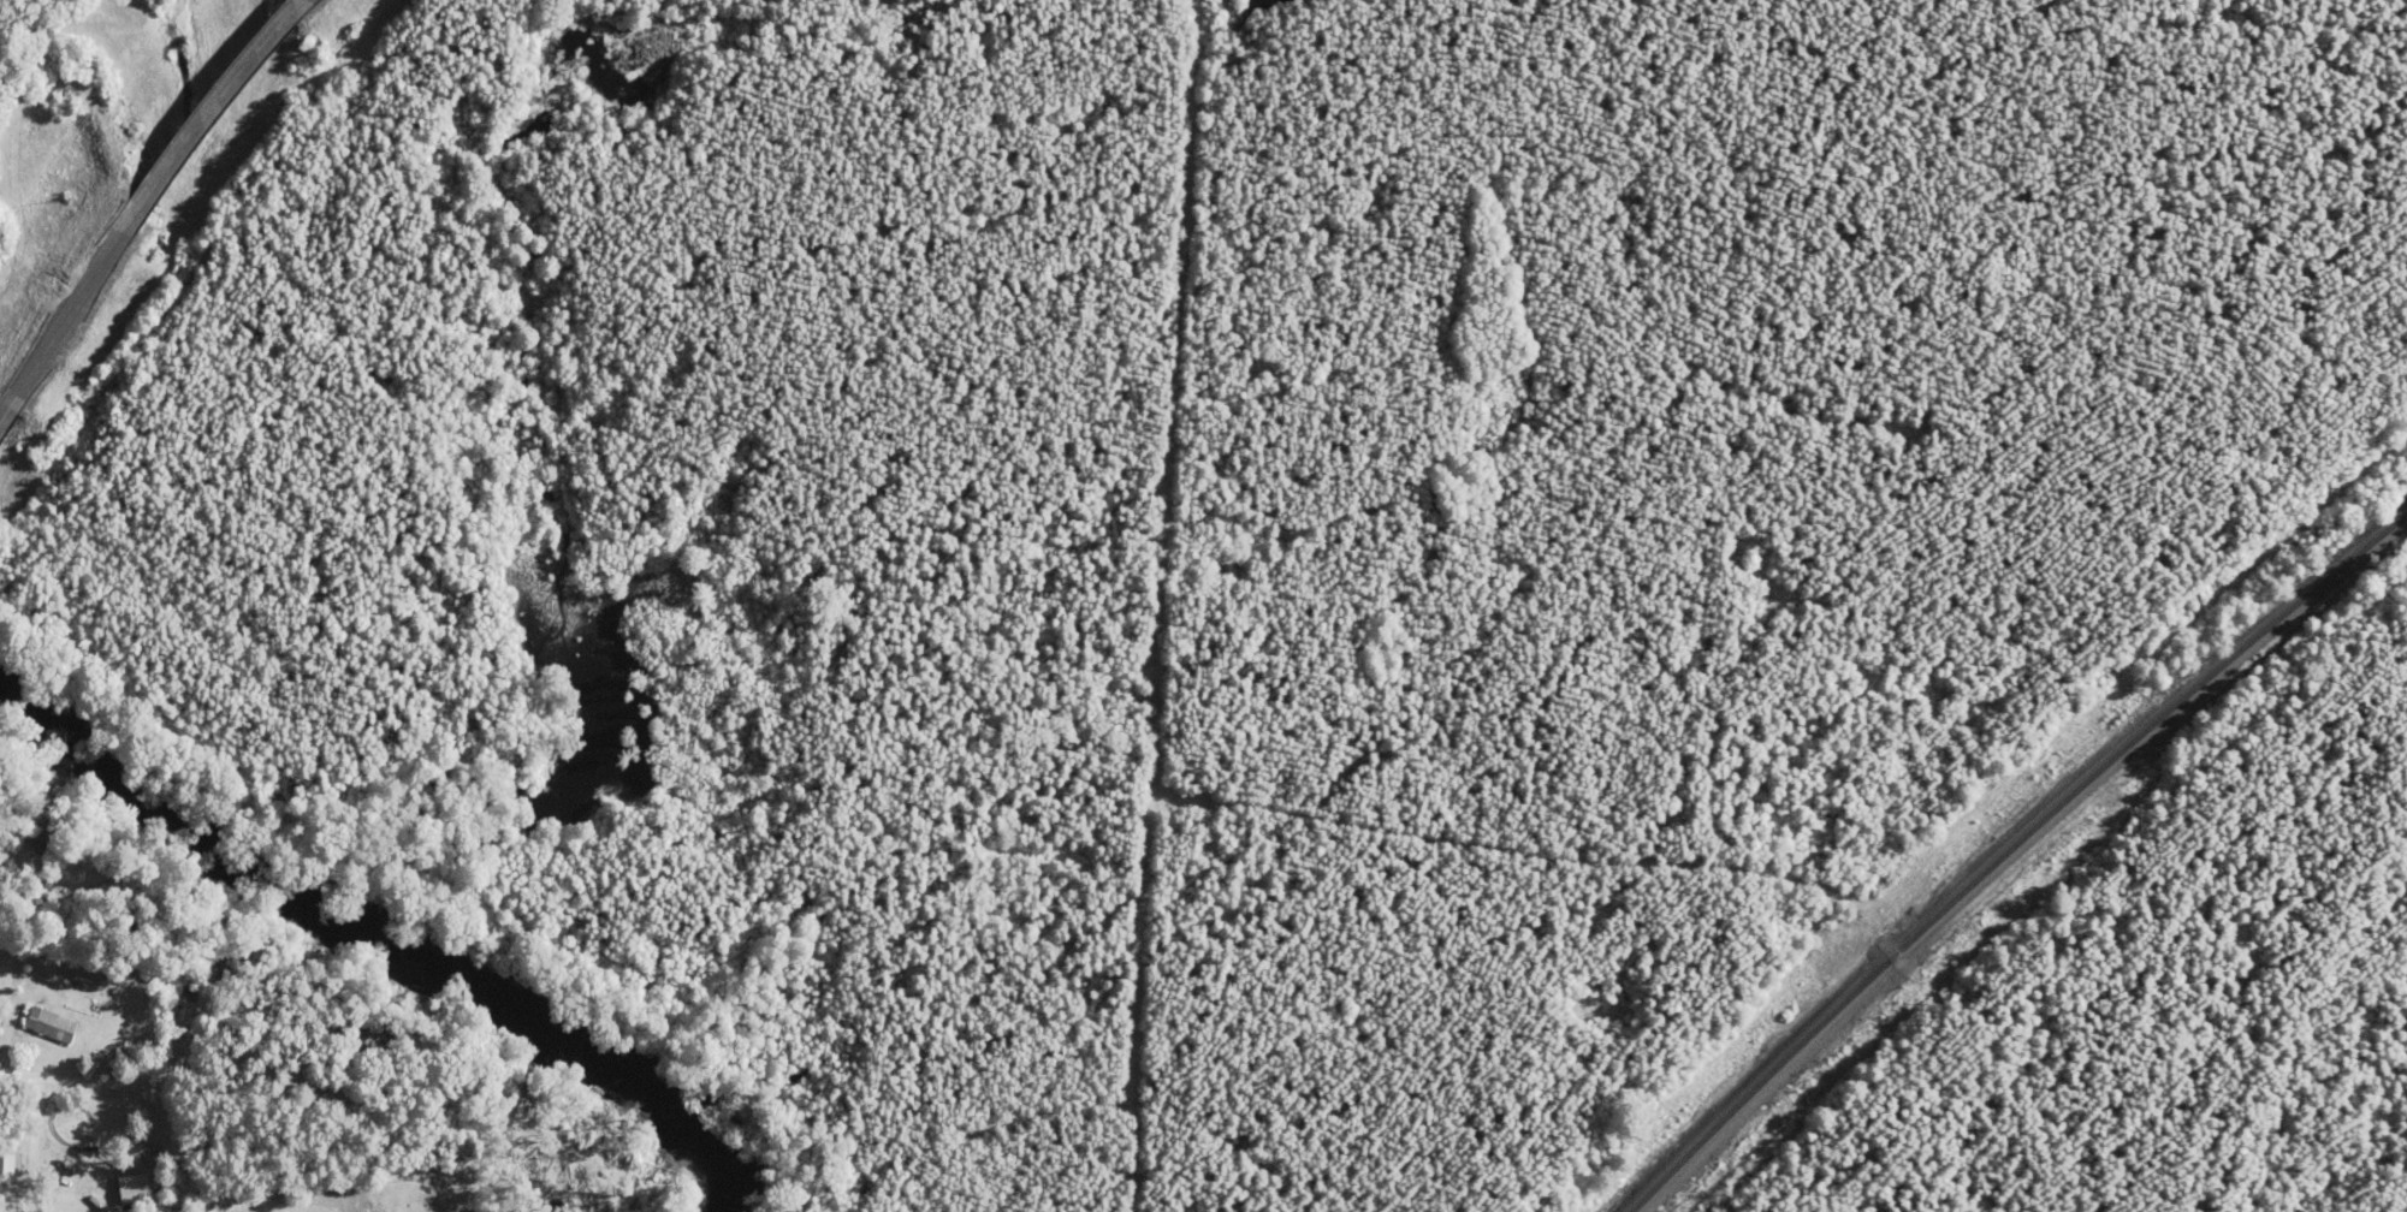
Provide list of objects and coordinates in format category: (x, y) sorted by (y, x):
road: (214, 115)
road: (70, 313)
road: (10, 411)
railway: (2012, 831)
river: (385, 943)
building: (53, 1023)
building: (858, 1181)

